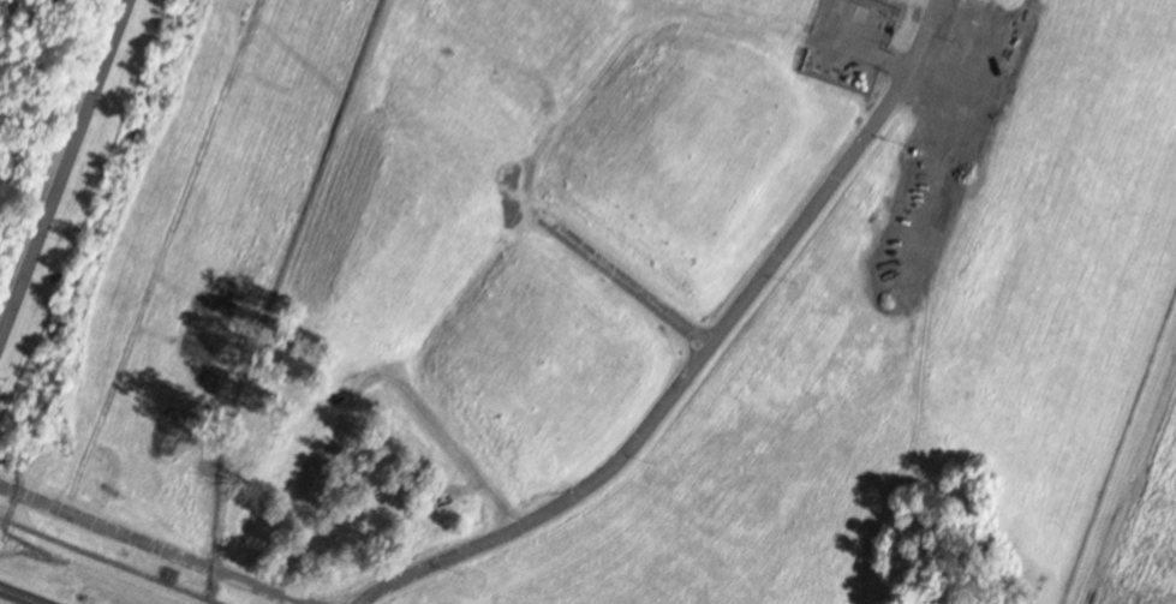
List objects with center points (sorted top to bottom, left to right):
building: (953, 86)
road: (59, 159)
road: (26, 593)
road: (360, 598)

